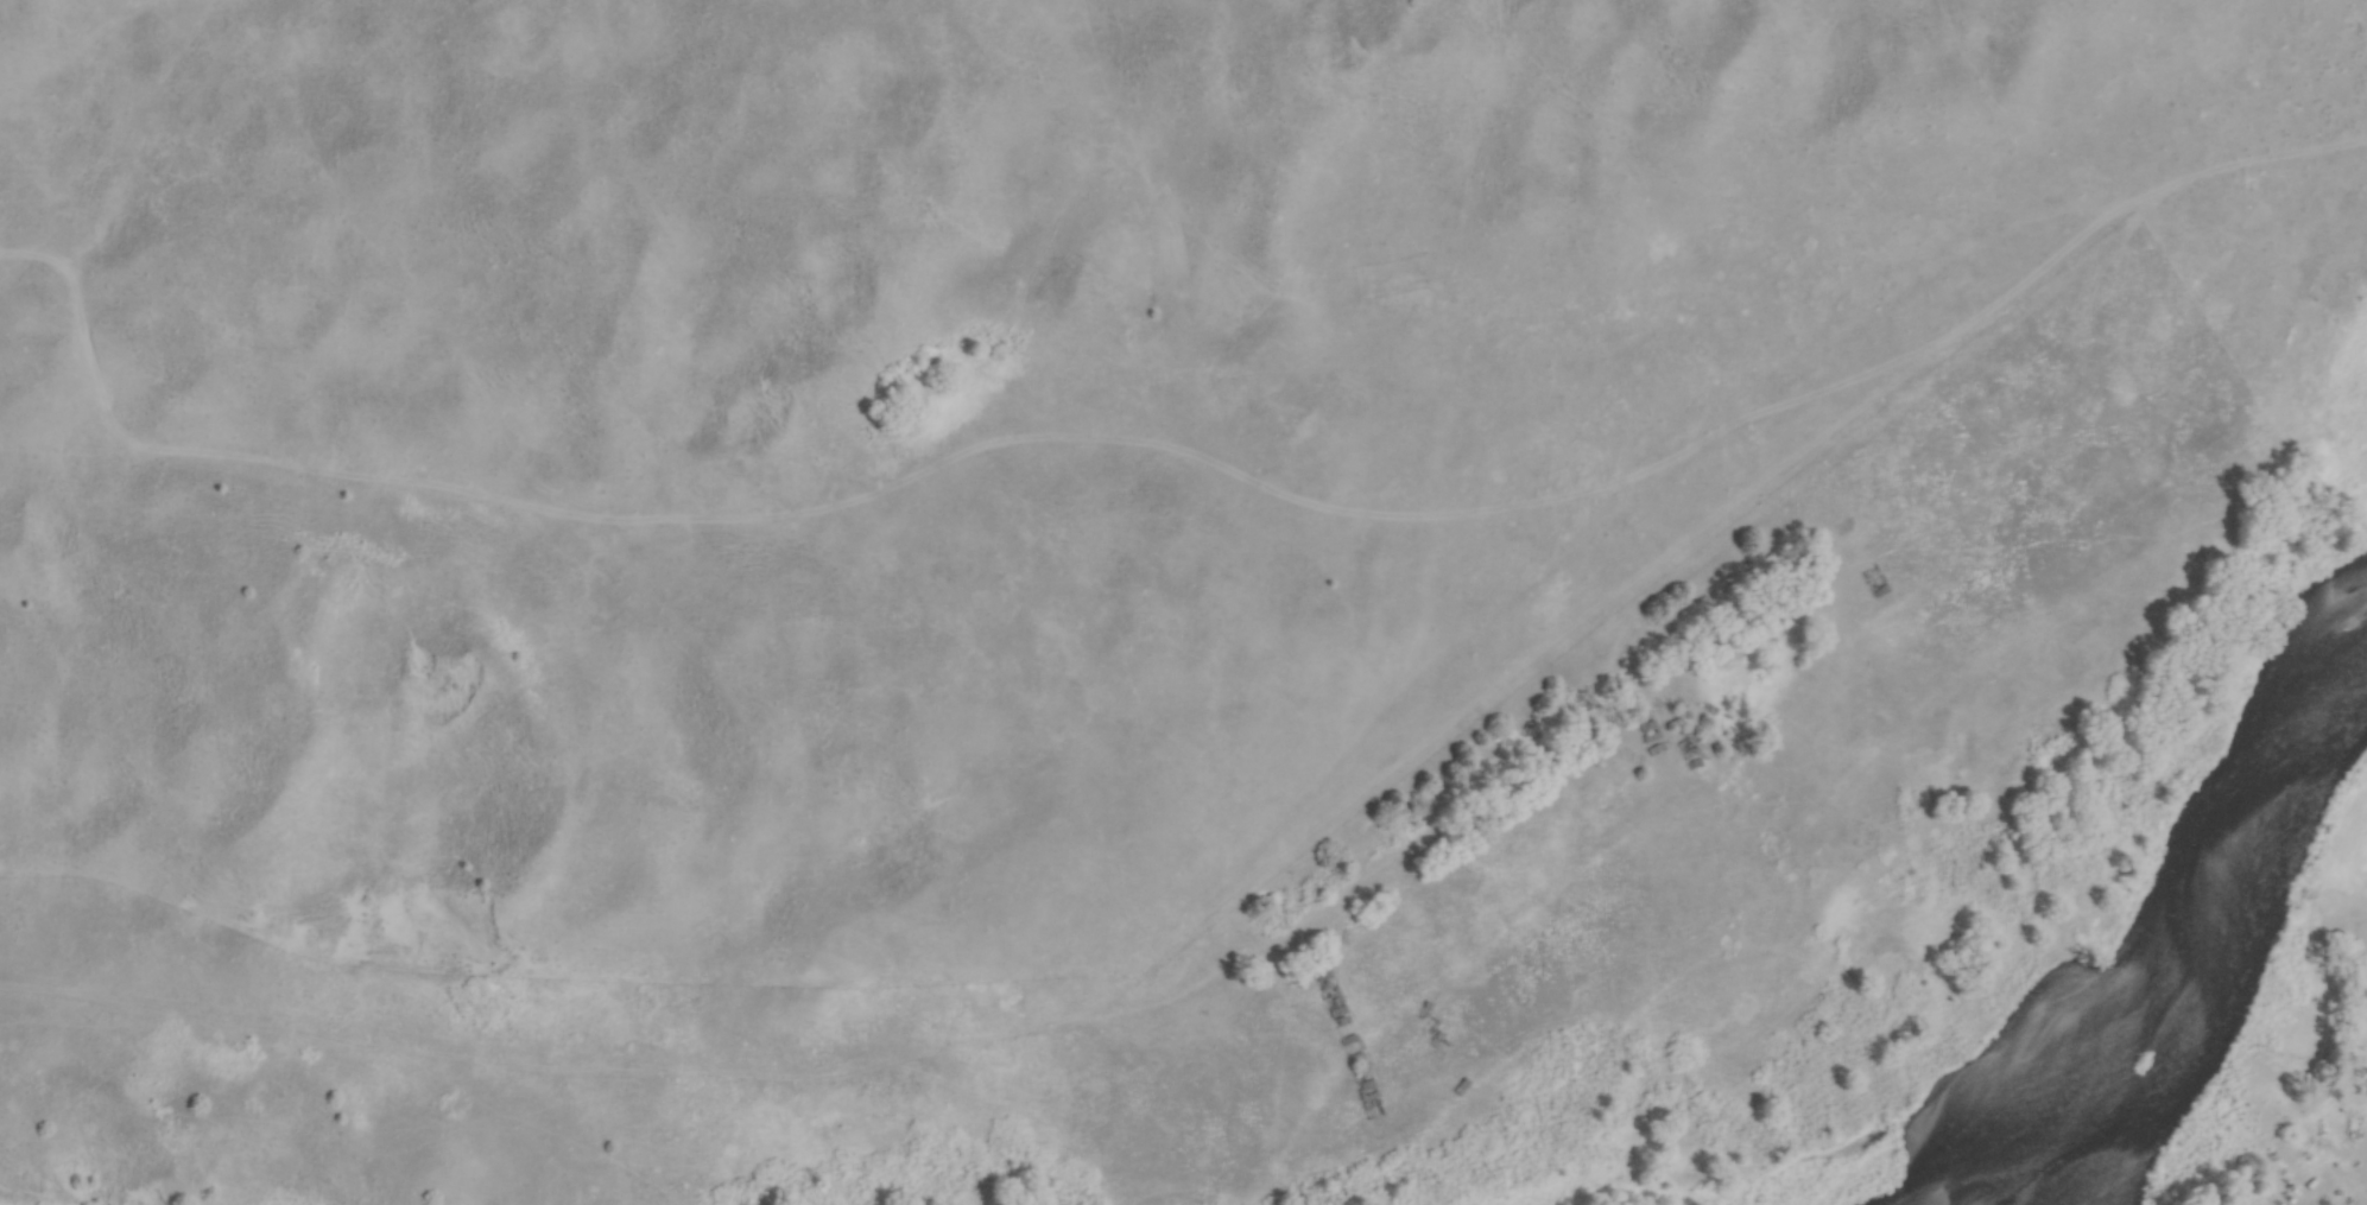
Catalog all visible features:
river: (2179, 943)

